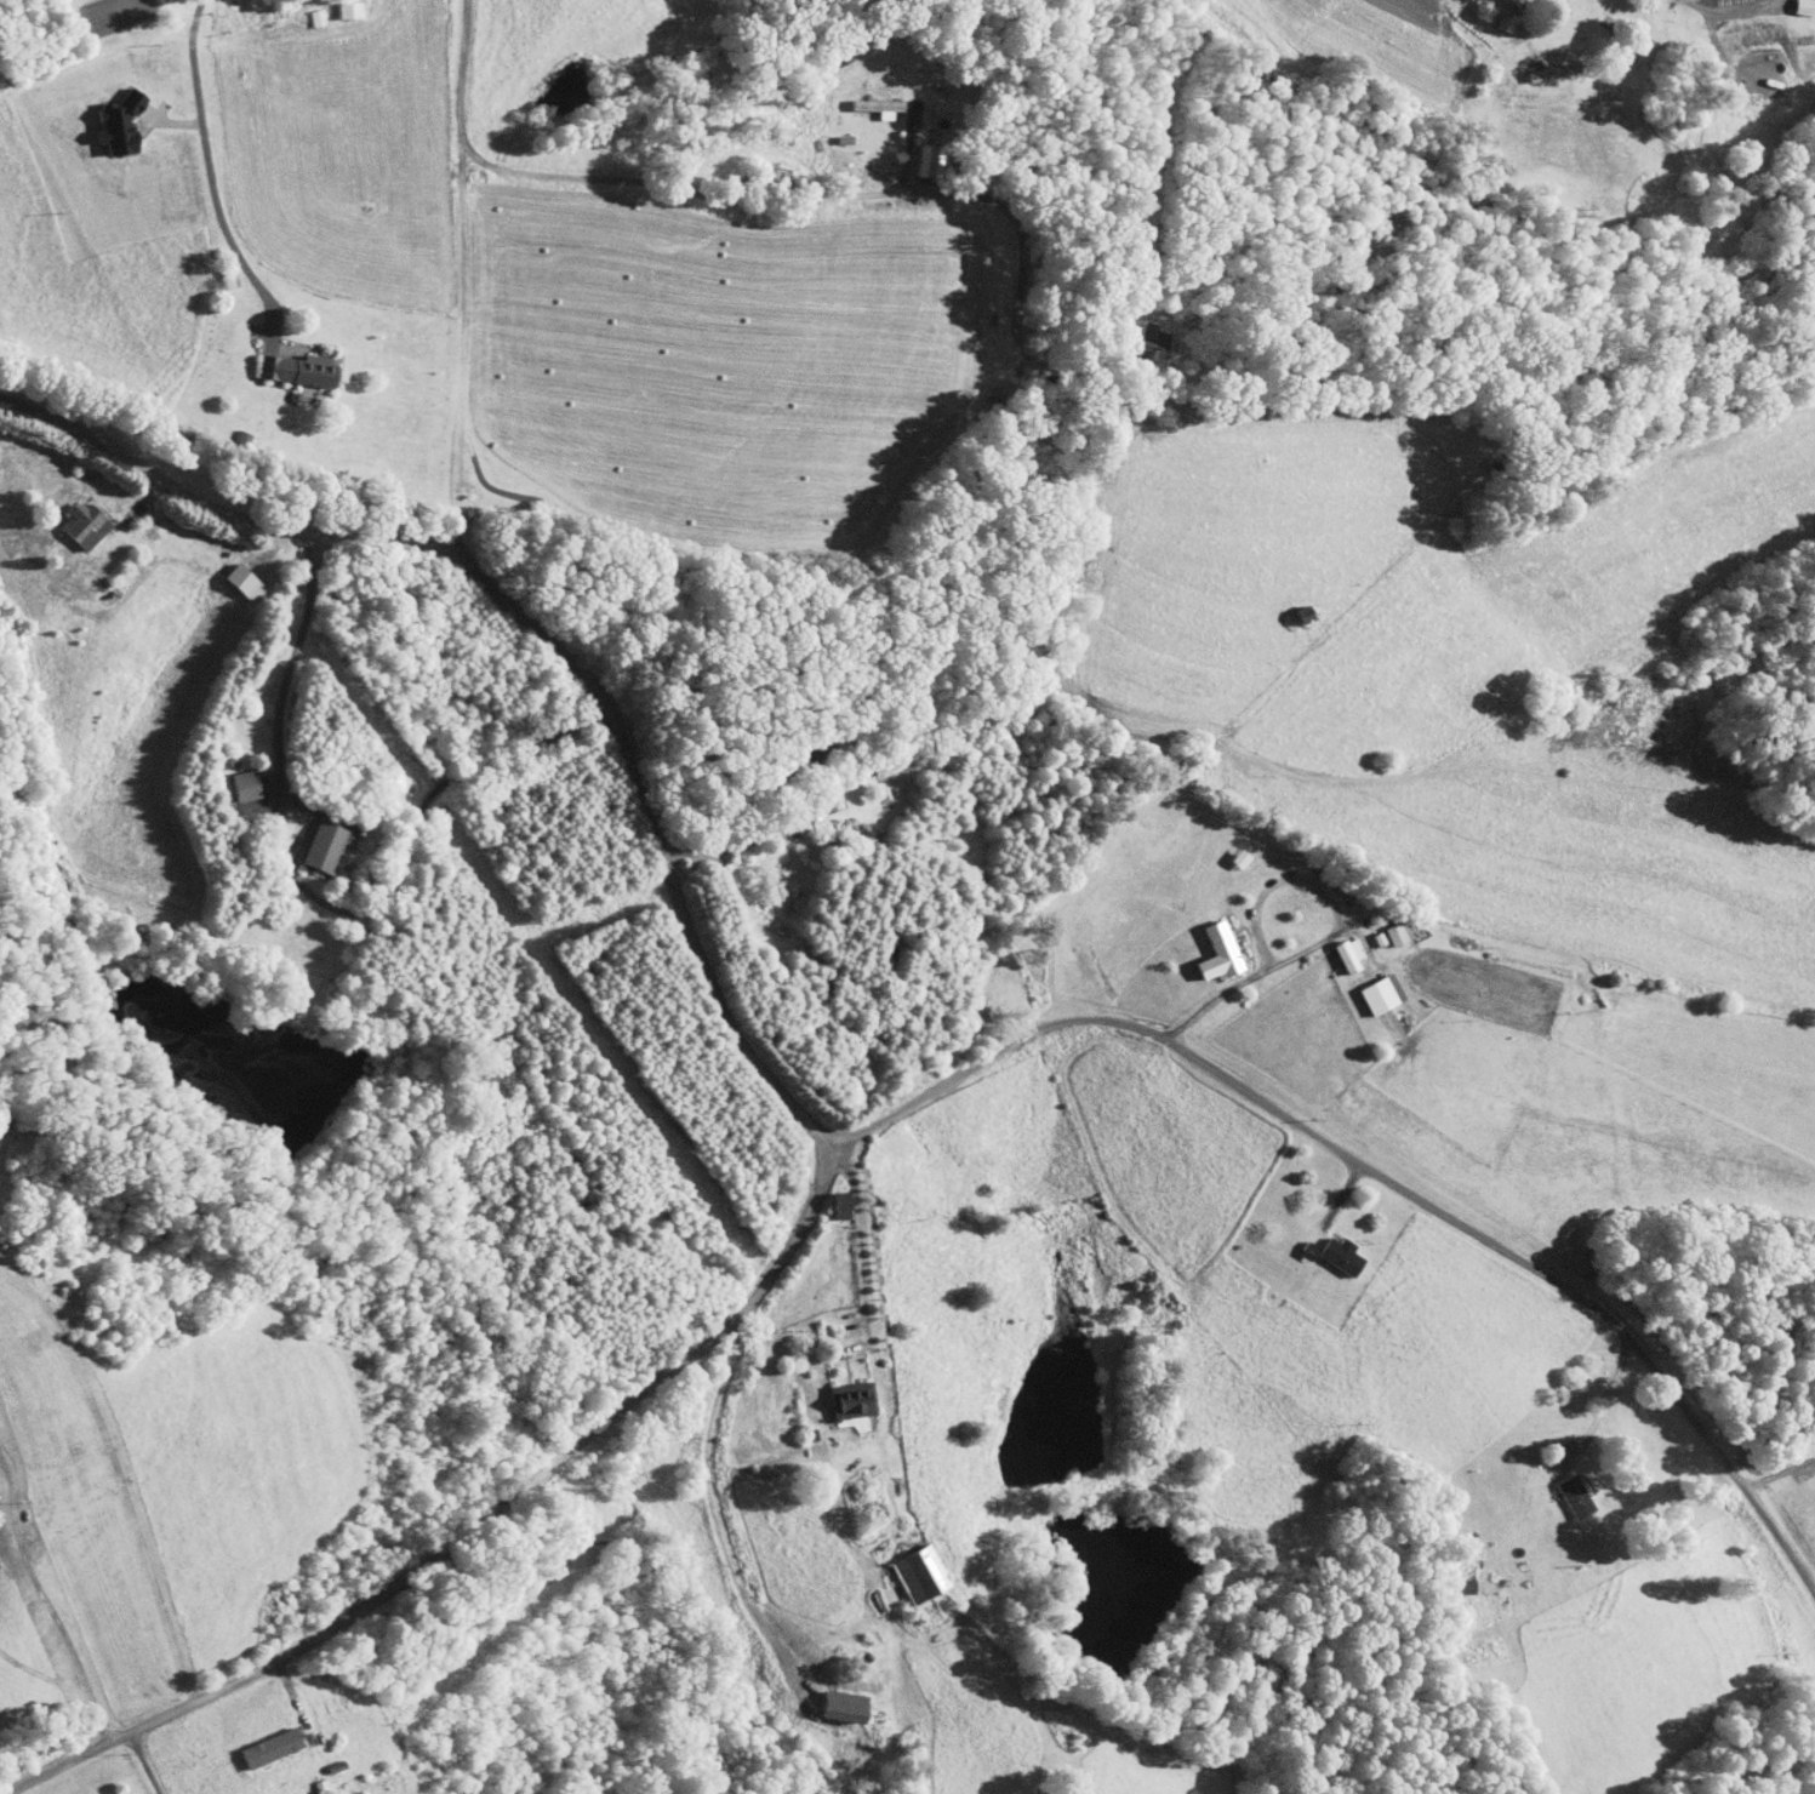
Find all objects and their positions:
building: (333, 5)
road: (1735, 8)
building: (1533, 65)
road: (463, 74)
building: (864, 99)
building: (104, 116)
road: (908, 152)
building: (913, 154)
road: (211, 177)
road: (1008, 213)
road: (466, 331)
building: (1137, 338)
building: (285, 362)
road: (215, 509)
building: (70, 516)
building: (229, 573)
building: (230, 777)
road: (658, 836)
building: (308, 838)
road: (743, 838)
road: (321, 895)
building: (1383, 925)
road: (1328, 937)
building: (1209, 939)
building: (1335, 947)
building: (1368, 985)
road: (1379, 1178)
building: (827, 1196)
building: (1326, 1247)
road: (871, 1361)
building: (838, 1392)
road: (1602, 1402)
road: (1779, 1473)
building: (1560, 1489)
road: (701, 1510)
road: (468, 1530)
building: (906, 1566)
road: (45, 1598)
building: (828, 1698)
building: (256, 1741)
road: (145, 1759)

